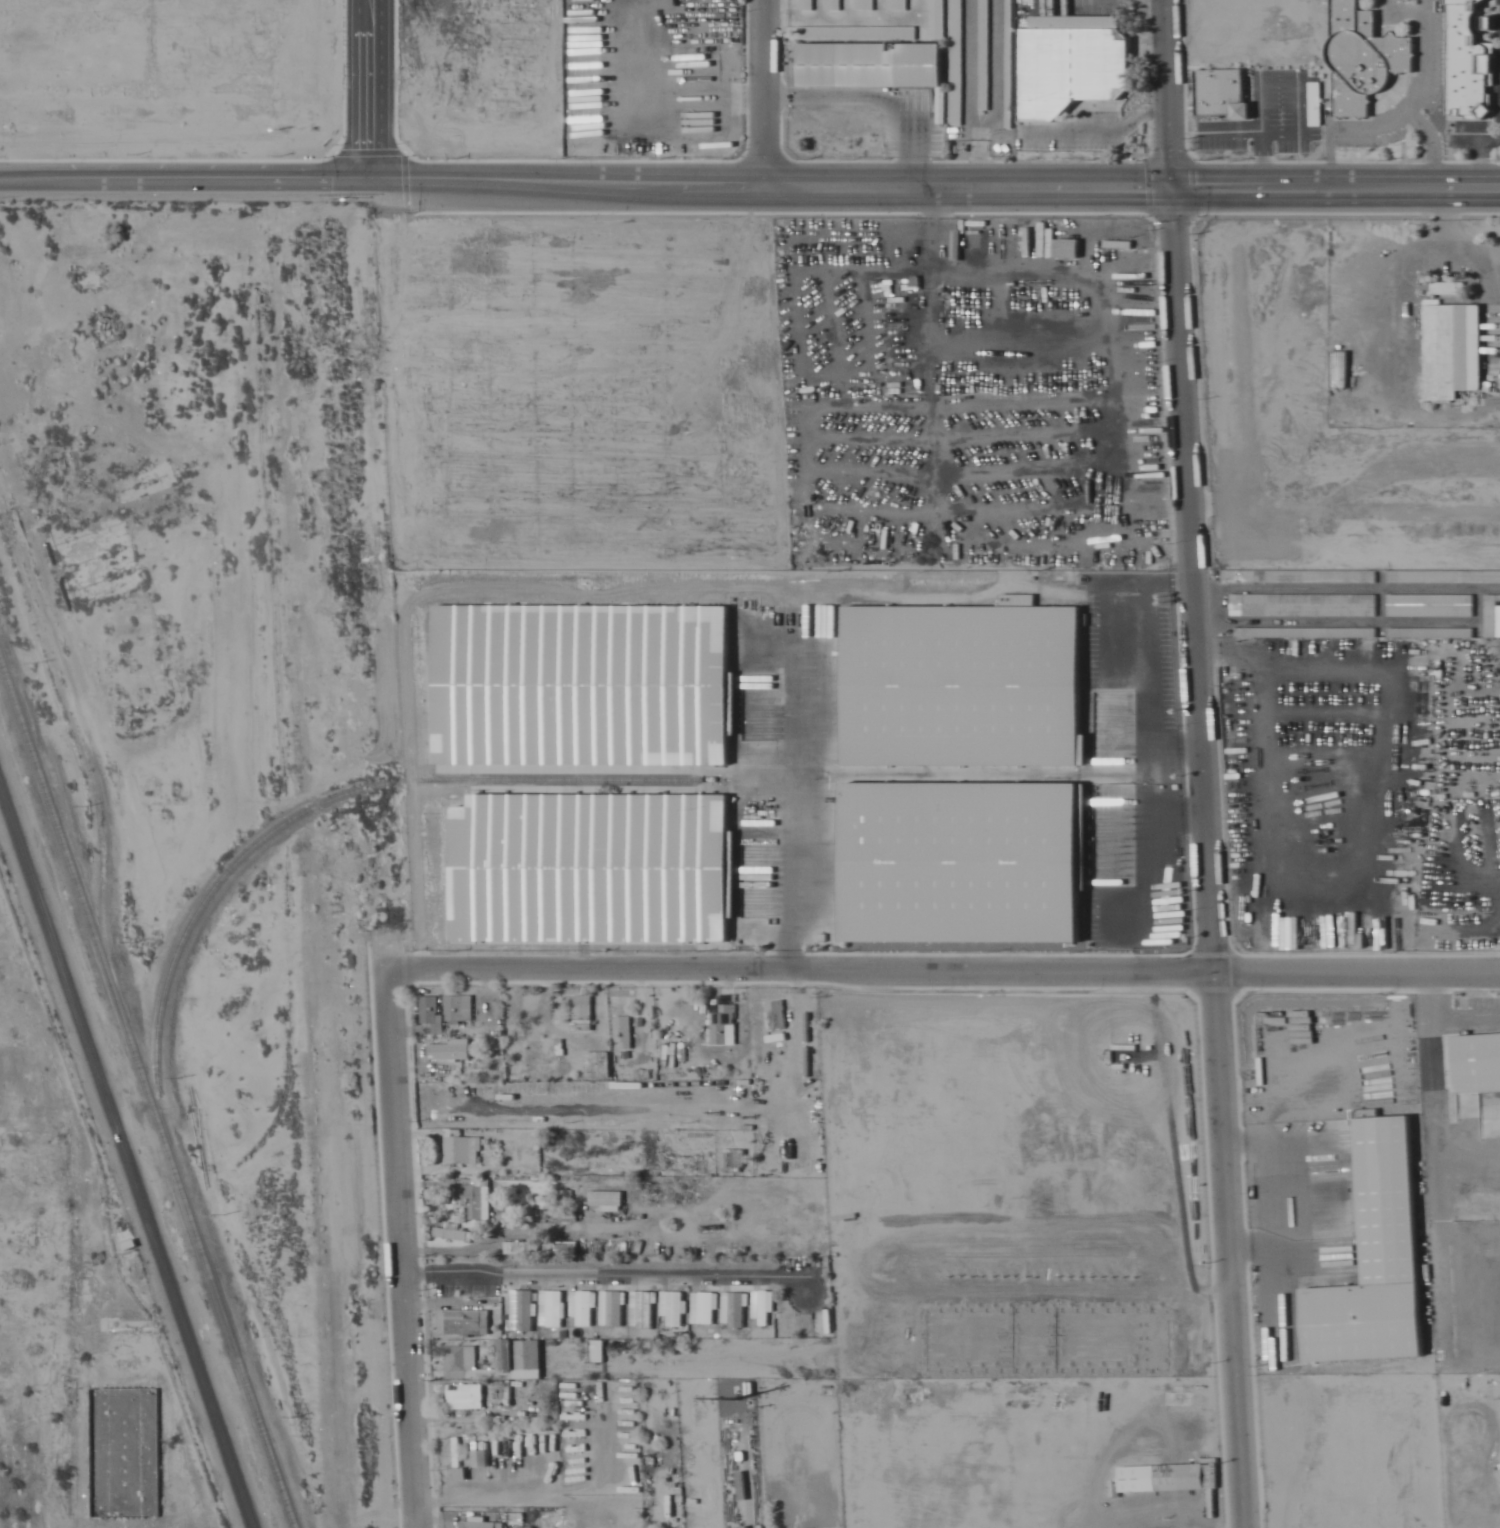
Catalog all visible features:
building: (804, 5)
building: (832, 5)
building: (862, 5)
building: (895, 5)
building: (936, 19)
building: (1004, 20)
building: (856, 32)
building: (954, 50)
building: (982, 55)
building: (1365, 62)
building: (869, 64)
building: (1071, 64)
building: (1466, 64)
road: (372, 93)
road: (766, 93)
road: (1166, 93)
building: (1221, 93)
road: (186, 186)
road: (936, 187)
building: (1065, 248)
building: (1452, 351)
building: (1339, 371)
building: (1350, 577)
road: (1191, 580)
building: (1443, 595)
building: (579, 685)
building: (960, 686)
building: (959, 862)
building: (587, 869)
road: (942, 973)
building: (458, 1008)
building: (429, 1010)
building: (581, 1013)
railway: (110, 1014)
building: (776, 1015)
building: (722, 1023)
building: (621, 1032)
building: (447, 1049)
building: (1471, 1060)
railway: (146, 1093)
building: (459, 1148)
building: (647, 1149)
road: (126, 1157)
building: (732, 1159)
building: (685, 1163)
building: (472, 1197)
building: (605, 1200)
building: (566, 1216)
road: (400, 1232)
building: (451, 1233)
building: (519, 1247)
building: (561, 1247)
road: (1227, 1251)
building: (1372, 1259)
building: (763, 1306)
building: (671, 1307)
building: (581, 1308)
building: (611, 1308)
building: (702, 1308)
building: (550, 1309)
building: (732, 1309)
building: (521, 1310)
building: (641, 1310)
building: (465, 1321)
building: (596, 1351)
building: (518, 1357)
building: (463, 1397)
building: (115, 1454)
building: (1166, 1478)
building: (463, 1524)

